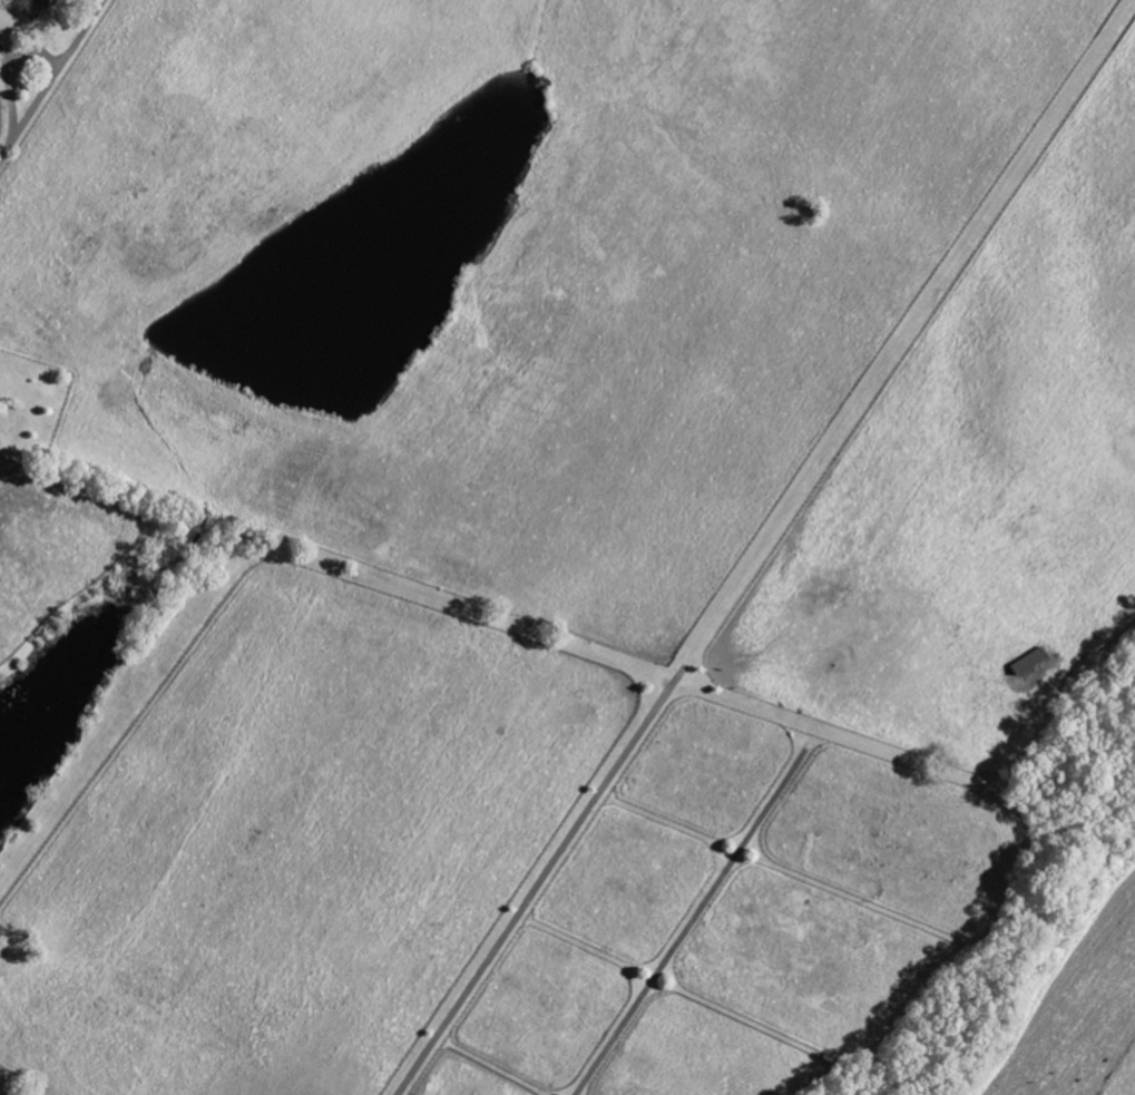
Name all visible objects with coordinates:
road: (51, 79)
road: (0, 1094)

